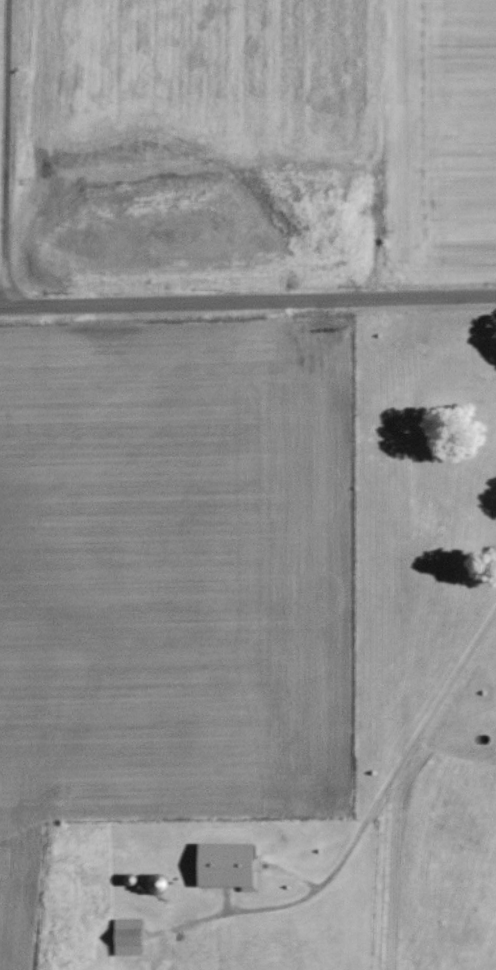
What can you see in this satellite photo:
road: (8, 143)
road: (247, 286)
road: (379, 801)
building: (225, 865)
building: (127, 936)

